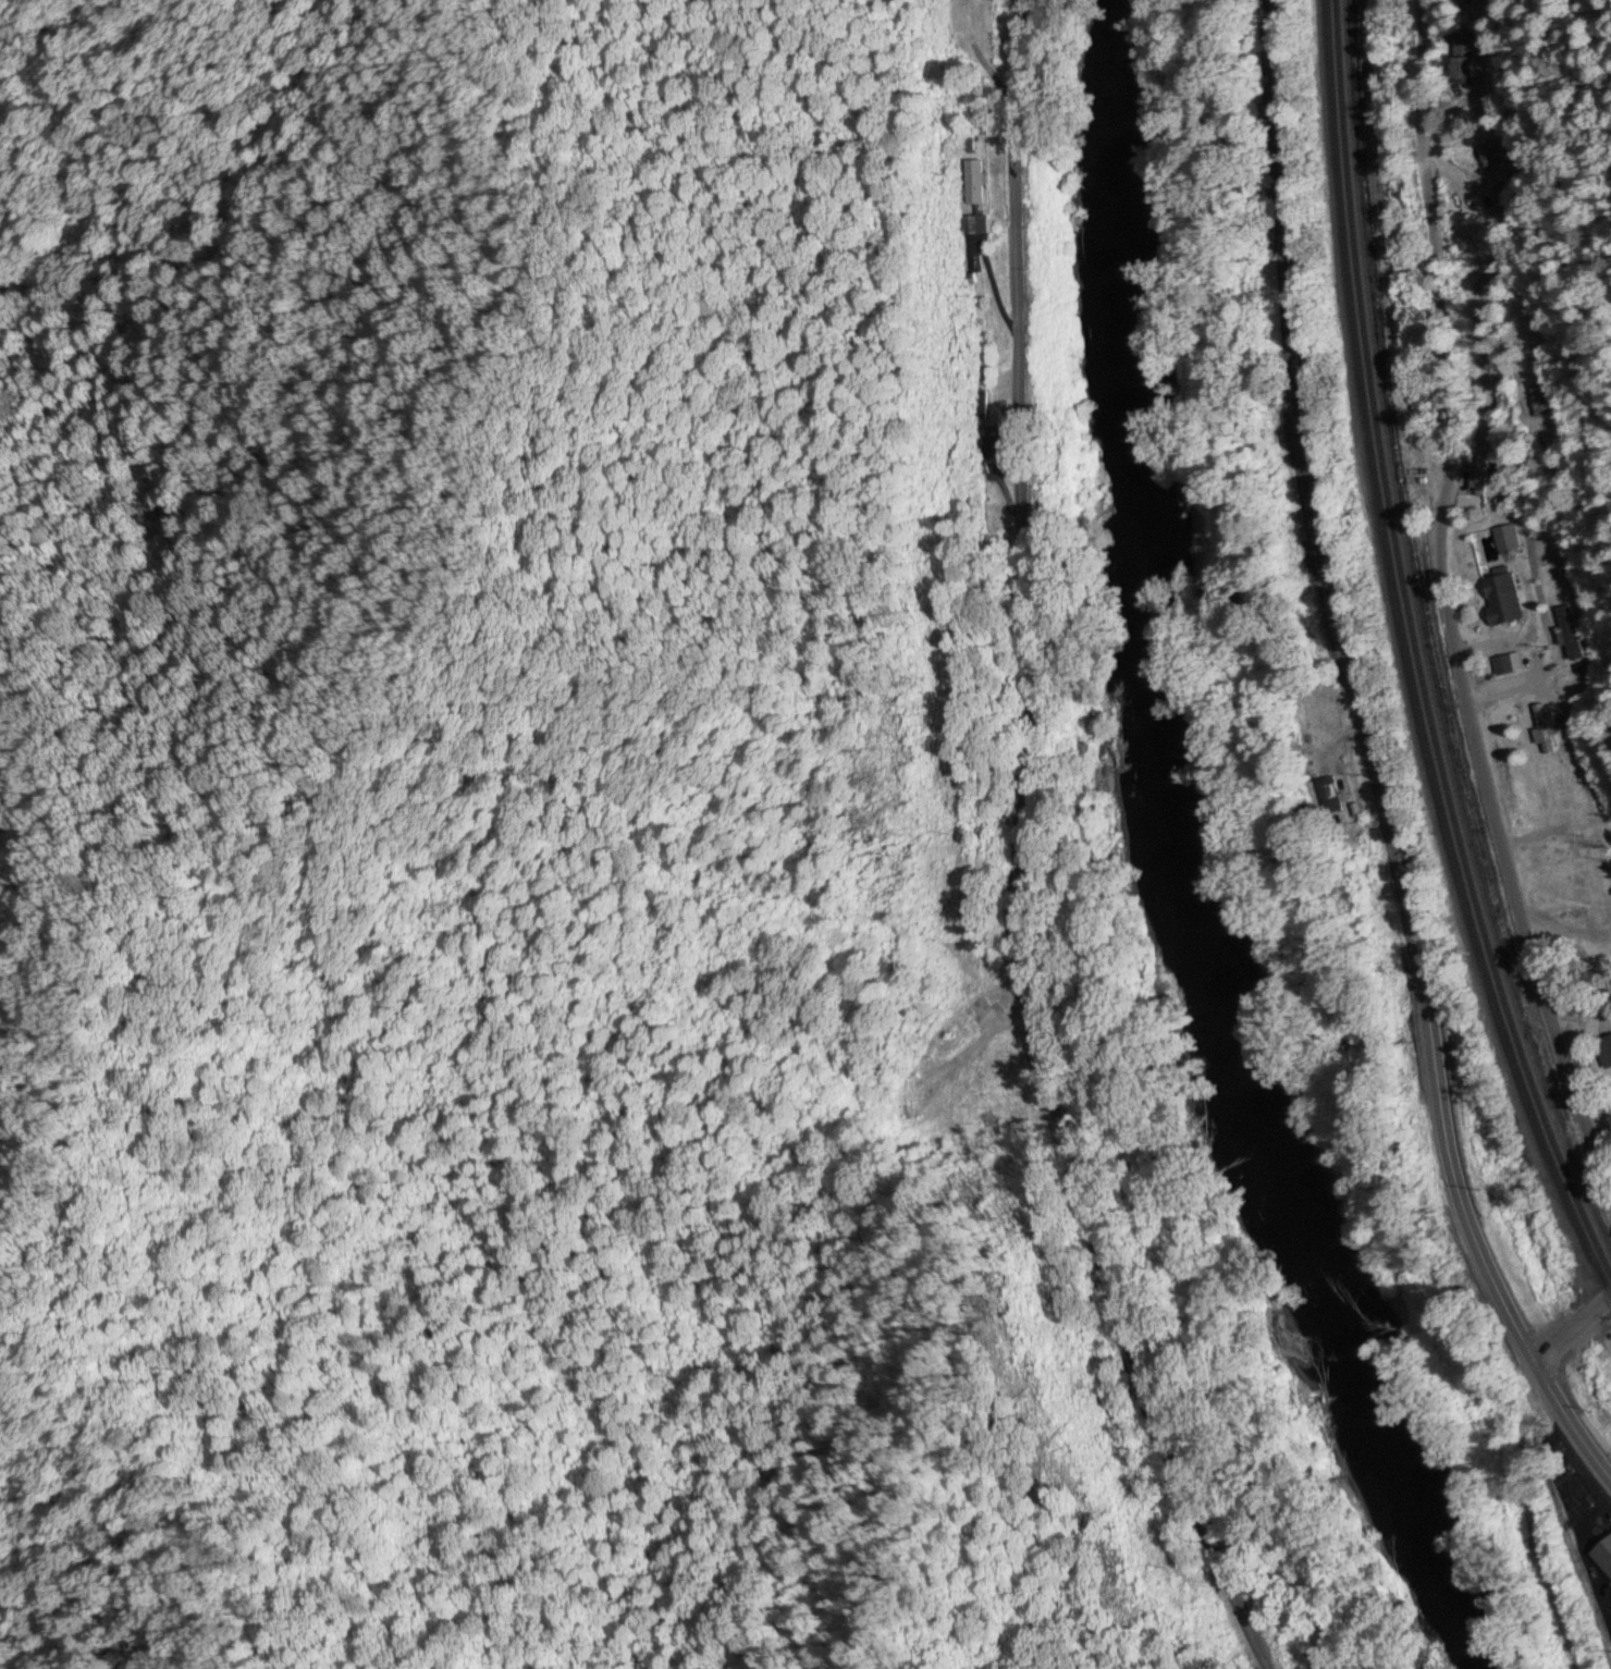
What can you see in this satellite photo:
building: (962, 14)
building: (1462, 62)
building: (1483, 160)
road: (1434, 238)
building: (1520, 330)
building: (1479, 474)
building: (1502, 533)
building: (1501, 600)
building: (1565, 633)
railway: (1421, 663)
building: (1502, 666)
building: (1544, 728)
road: (1480, 743)
road: (1373, 762)
building: (1329, 796)
road: (1034, 856)
river: (1203, 861)
building: (1607, 908)
building: (948, 1040)
building: (1604, 1052)
building: (923, 1101)
building: (986, 1124)
road: (1571, 1330)
building: (1603, 1556)

